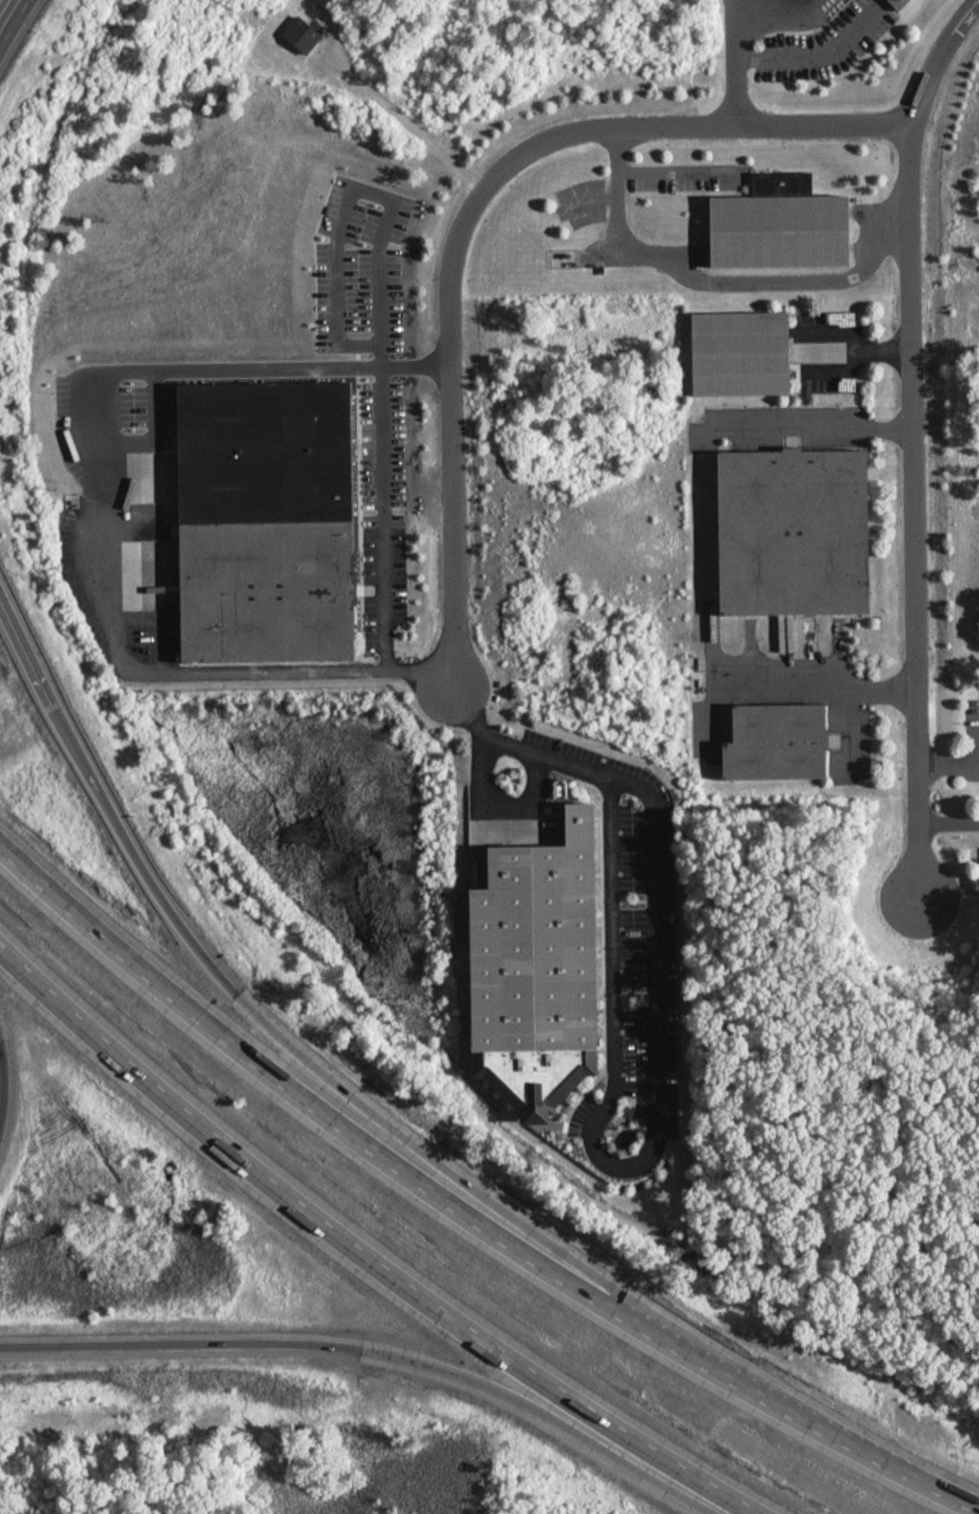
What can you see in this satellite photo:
building: (901, 3)
road: (6, 11)
building: (300, 33)
road: (808, 48)
road: (736, 62)
road: (408, 125)
road: (673, 172)
road: (468, 214)
building: (782, 231)
road: (714, 283)
road: (862, 338)
building: (742, 354)
road: (815, 435)
road: (912, 440)
building: (796, 532)
road: (97, 574)
road: (383, 584)
building: (265, 589)
road: (818, 687)
building: (778, 743)
road: (947, 762)
road: (501, 804)
road: (948, 823)
road: (195, 942)
building: (539, 966)
road: (604, 1105)
road: (458, 1214)
road: (341, 1250)
road: (375, 1346)

